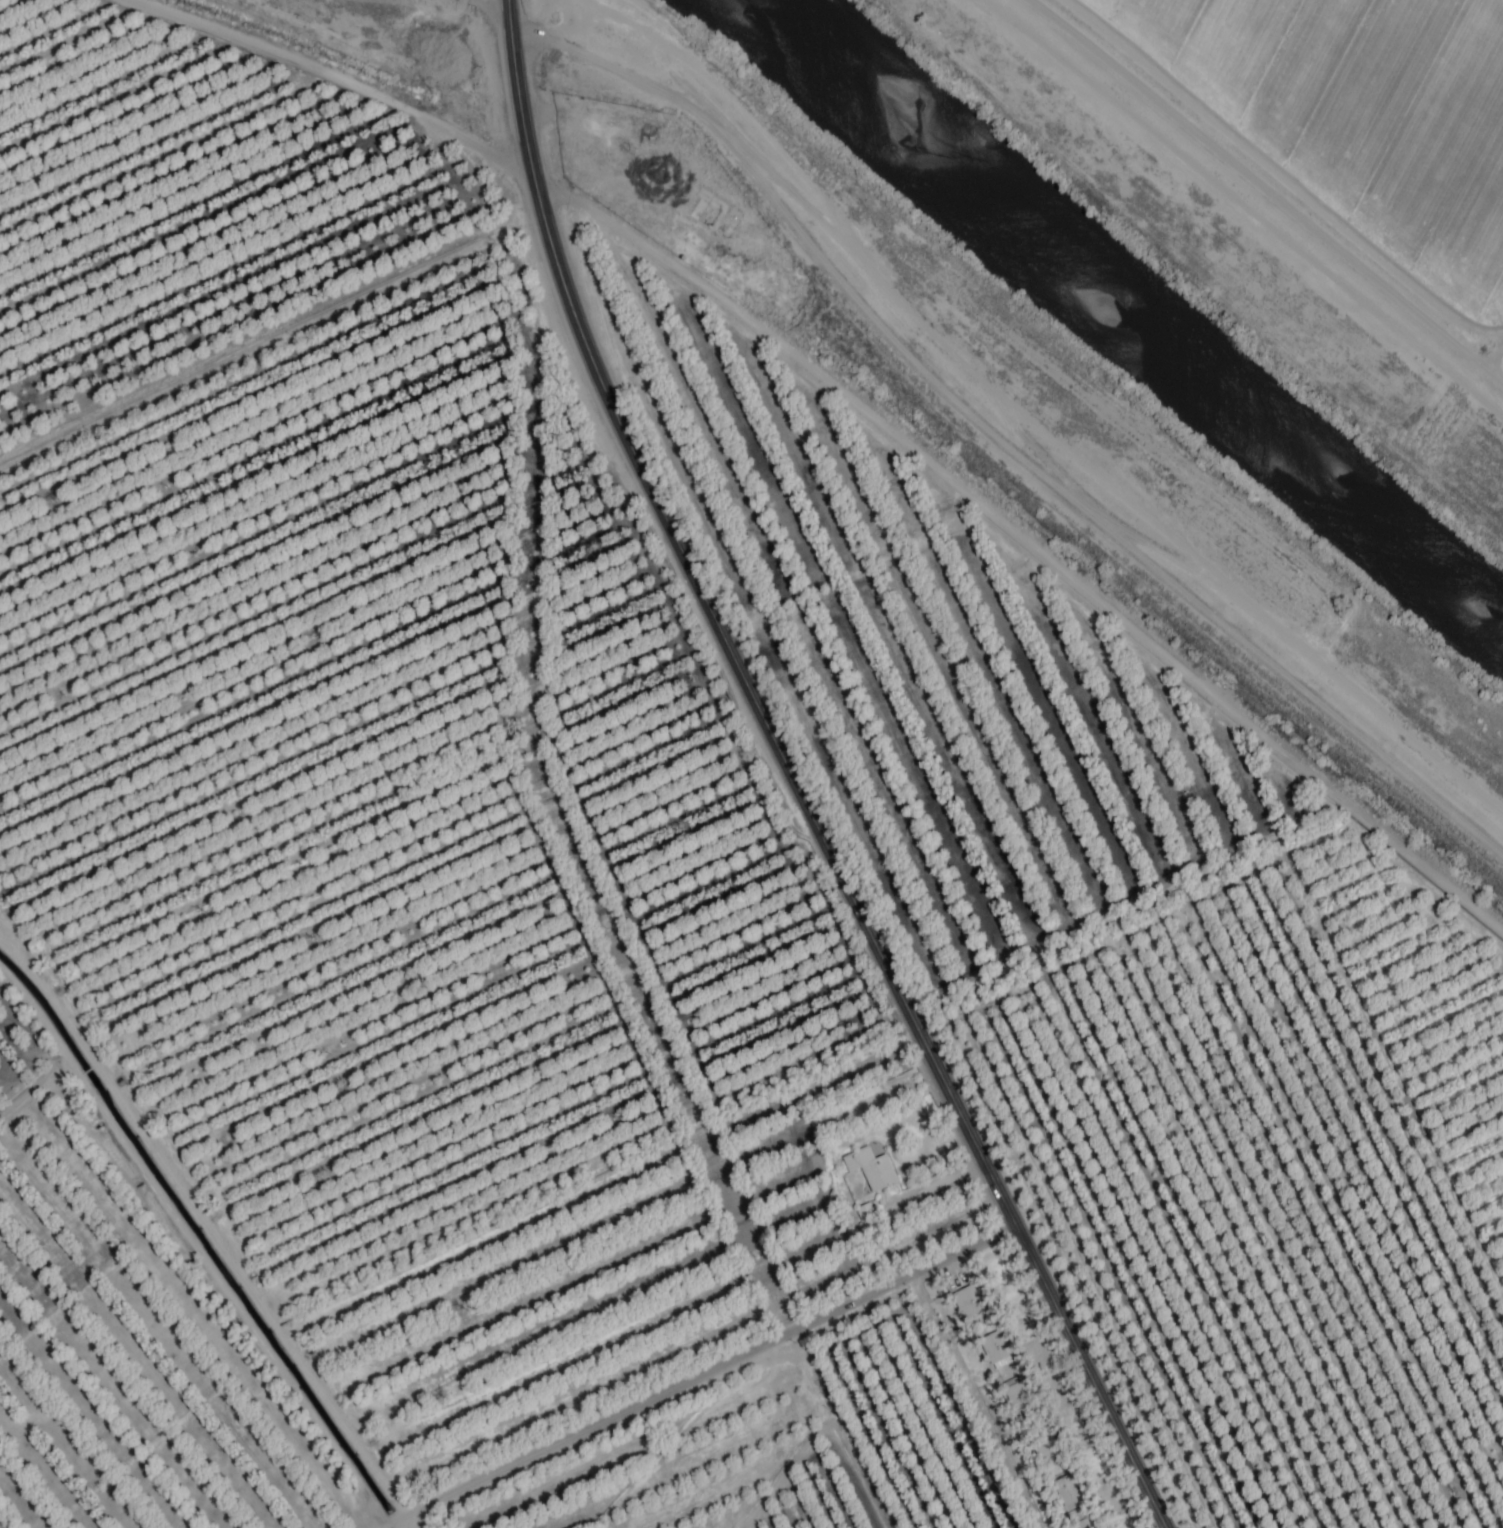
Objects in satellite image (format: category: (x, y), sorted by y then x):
road: (488, 10)
crop: (1361, 114)
road: (1266, 192)
river: (1130, 308)
road: (850, 402)
road: (996, 442)
road: (791, 778)
building: (871, 1169)
road: (212, 1229)
building: (969, 1303)
building: (995, 1349)
road: (709, 1371)
building: (1019, 1399)
building: (1043, 1444)
building: (1068, 1494)
building: (1084, 1521)
road: (394, 1522)

